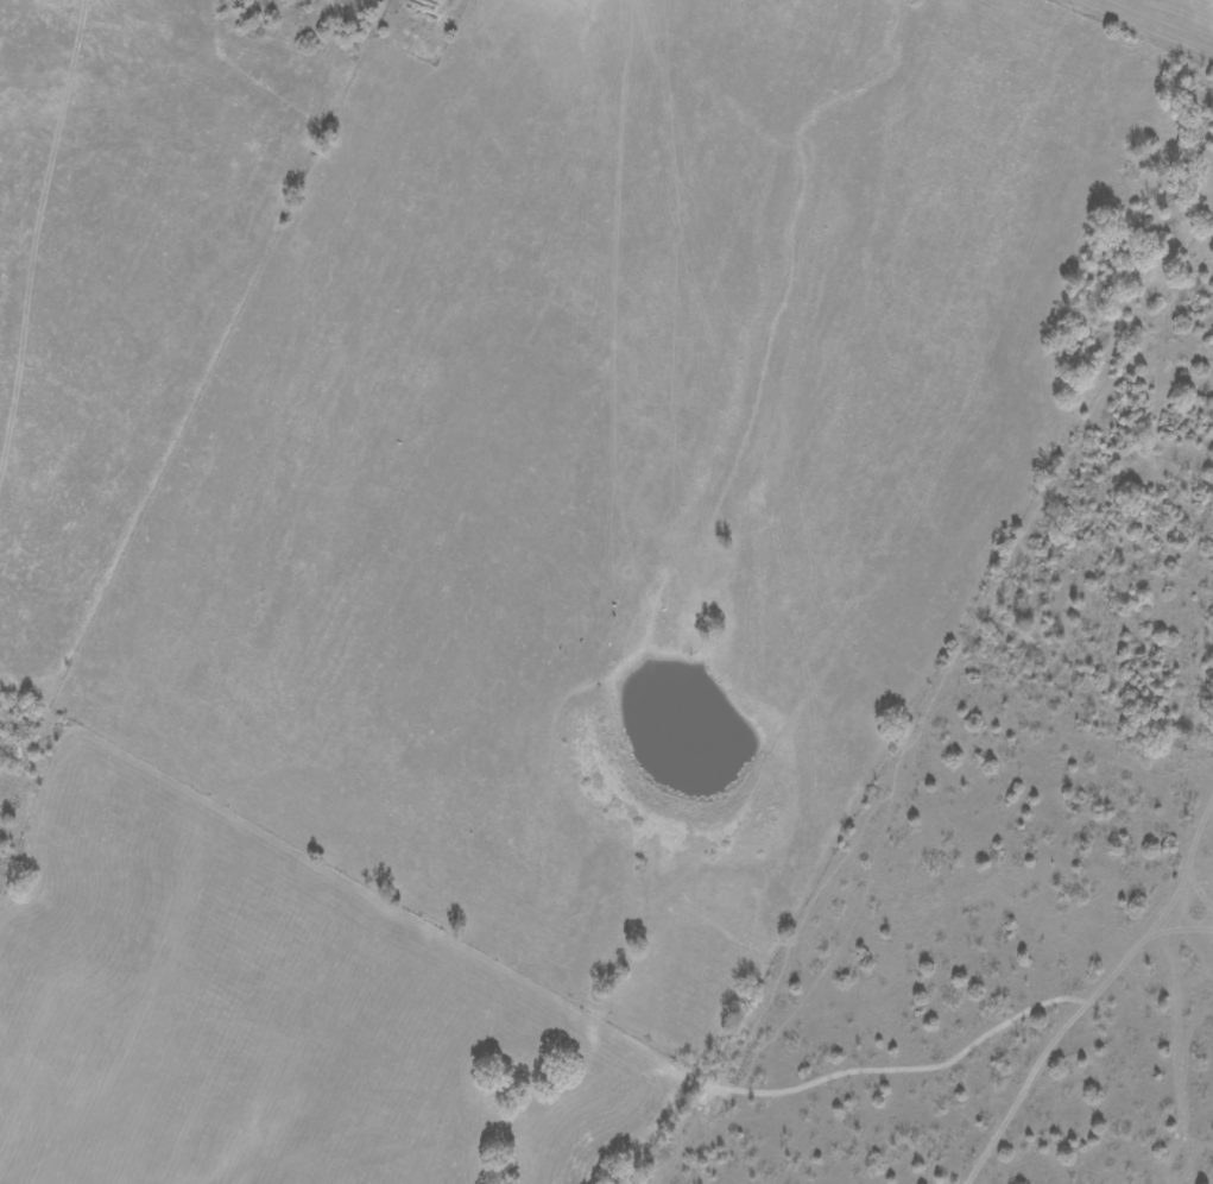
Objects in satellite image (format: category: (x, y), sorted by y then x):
road: (1072, 934)

